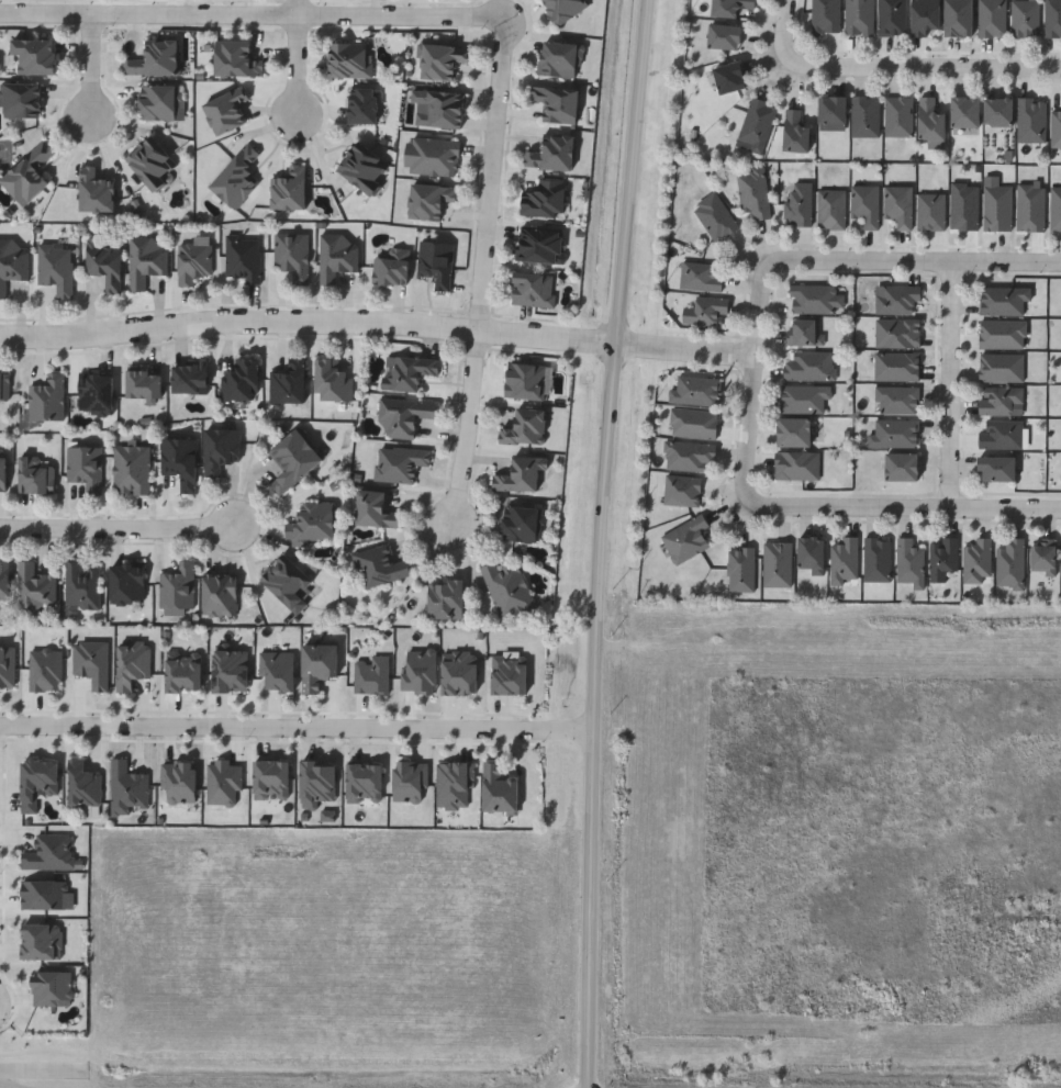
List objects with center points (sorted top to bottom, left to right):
building: (727, 7)
road: (294, 8)
building: (563, 9)
road: (253, 14)
building: (825, 15)
building: (858, 16)
building: (890, 16)
building: (922, 16)
building: (954, 18)
building: (991, 18)
building: (1024, 18)
building: (1052, 18)
building: (721, 35)
road: (783, 35)
building: (34, 55)
building: (559, 58)
building: (154, 59)
building: (235, 59)
building: (349, 59)
building: (440, 60)
road: (920, 70)
road: (89, 71)
road: (295, 71)
building: (726, 77)
building: (21, 100)
building: (158, 102)
building: (557, 103)
building: (362, 105)
building: (439, 109)
building: (225, 110)
building: (996, 110)
building: (829, 111)
building: (962, 111)
building: (864, 114)
building: (897, 114)
building: (929, 116)
building: (1030, 119)
building: (756, 123)
building: (1056, 126)
building: (793, 130)
building: (552, 153)
building: (432, 156)
building: (152, 162)
building: (364, 168)
building: (29, 173)
road: (496, 176)
building: (236, 177)
building: (289, 189)
building: (752, 191)
building: (94, 192)
building: (544, 199)
building: (429, 200)
building: (798, 202)
building: (864, 204)
building: (897, 204)
building: (963, 206)
building: (1030, 206)
building: (829, 207)
building: (929, 211)
building: (714, 215)
building: (539, 244)
building: (290, 255)
building: (335, 257)
building: (242, 258)
building: (146, 261)
building: (193, 261)
road: (913, 261)
building: (435, 262)
building: (11, 263)
building: (105, 265)
building: (391, 267)
building: (55, 268)
building: (700, 276)
building: (533, 289)
building: (814, 298)
building: (896, 298)
building: (1003, 299)
building: (705, 311)
road: (378, 325)
building: (805, 332)
building: (1002, 333)
building: (808, 364)
building: (407, 371)
building: (190, 379)
building: (241, 379)
building: (331, 381)
building: (524, 381)
building: (288, 383)
building: (144, 384)
road: (752, 384)
road: (958, 385)
building: (3, 386)
building: (694, 389)
building: (96, 393)
building: (803, 396)
building: (46, 397)
building: (896, 399)
building: (998, 399)
building: (403, 415)
building: (692, 422)
building: (524, 427)
building: (791, 431)
building: (893, 431)
building: (999, 433)
road: (474, 440)
building: (221, 449)
building: (688, 455)
building: (293, 459)
building: (180, 461)
building: (399, 463)
building: (898, 466)
building: (83, 468)
building: (995, 468)
building: (131, 470)
building: (2, 473)
building: (35, 474)
building: (520, 475)
building: (377, 508)
road: (902, 509)
building: (311, 523)
building: (523, 524)
road: (115, 529)
building: (685, 537)
road: (597, 542)
building: (808, 552)
building: (1042, 556)
building: (942, 557)
building: (844, 559)
building: (876, 559)
building: (976, 559)
building: (909, 561)
building: (1010, 562)
building: (379, 567)
building: (3, 581)
building: (287, 581)
building: (126, 583)
building: (81, 586)
building: (177, 588)
building: (33, 590)
building: (507, 591)
building: (220, 594)
building: (447, 599)
building: (90, 663)
building: (317, 665)
building: (183, 671)
building: (230, 672)
road: (295, 726)
building: (270, 779)
building: (37, 782)
building: (317, 783)
building: (364, 783)
building: (82, 785)
building: (126, 788)
building: (499, 790)
building: (49, 852)
road: (7, 1084)

